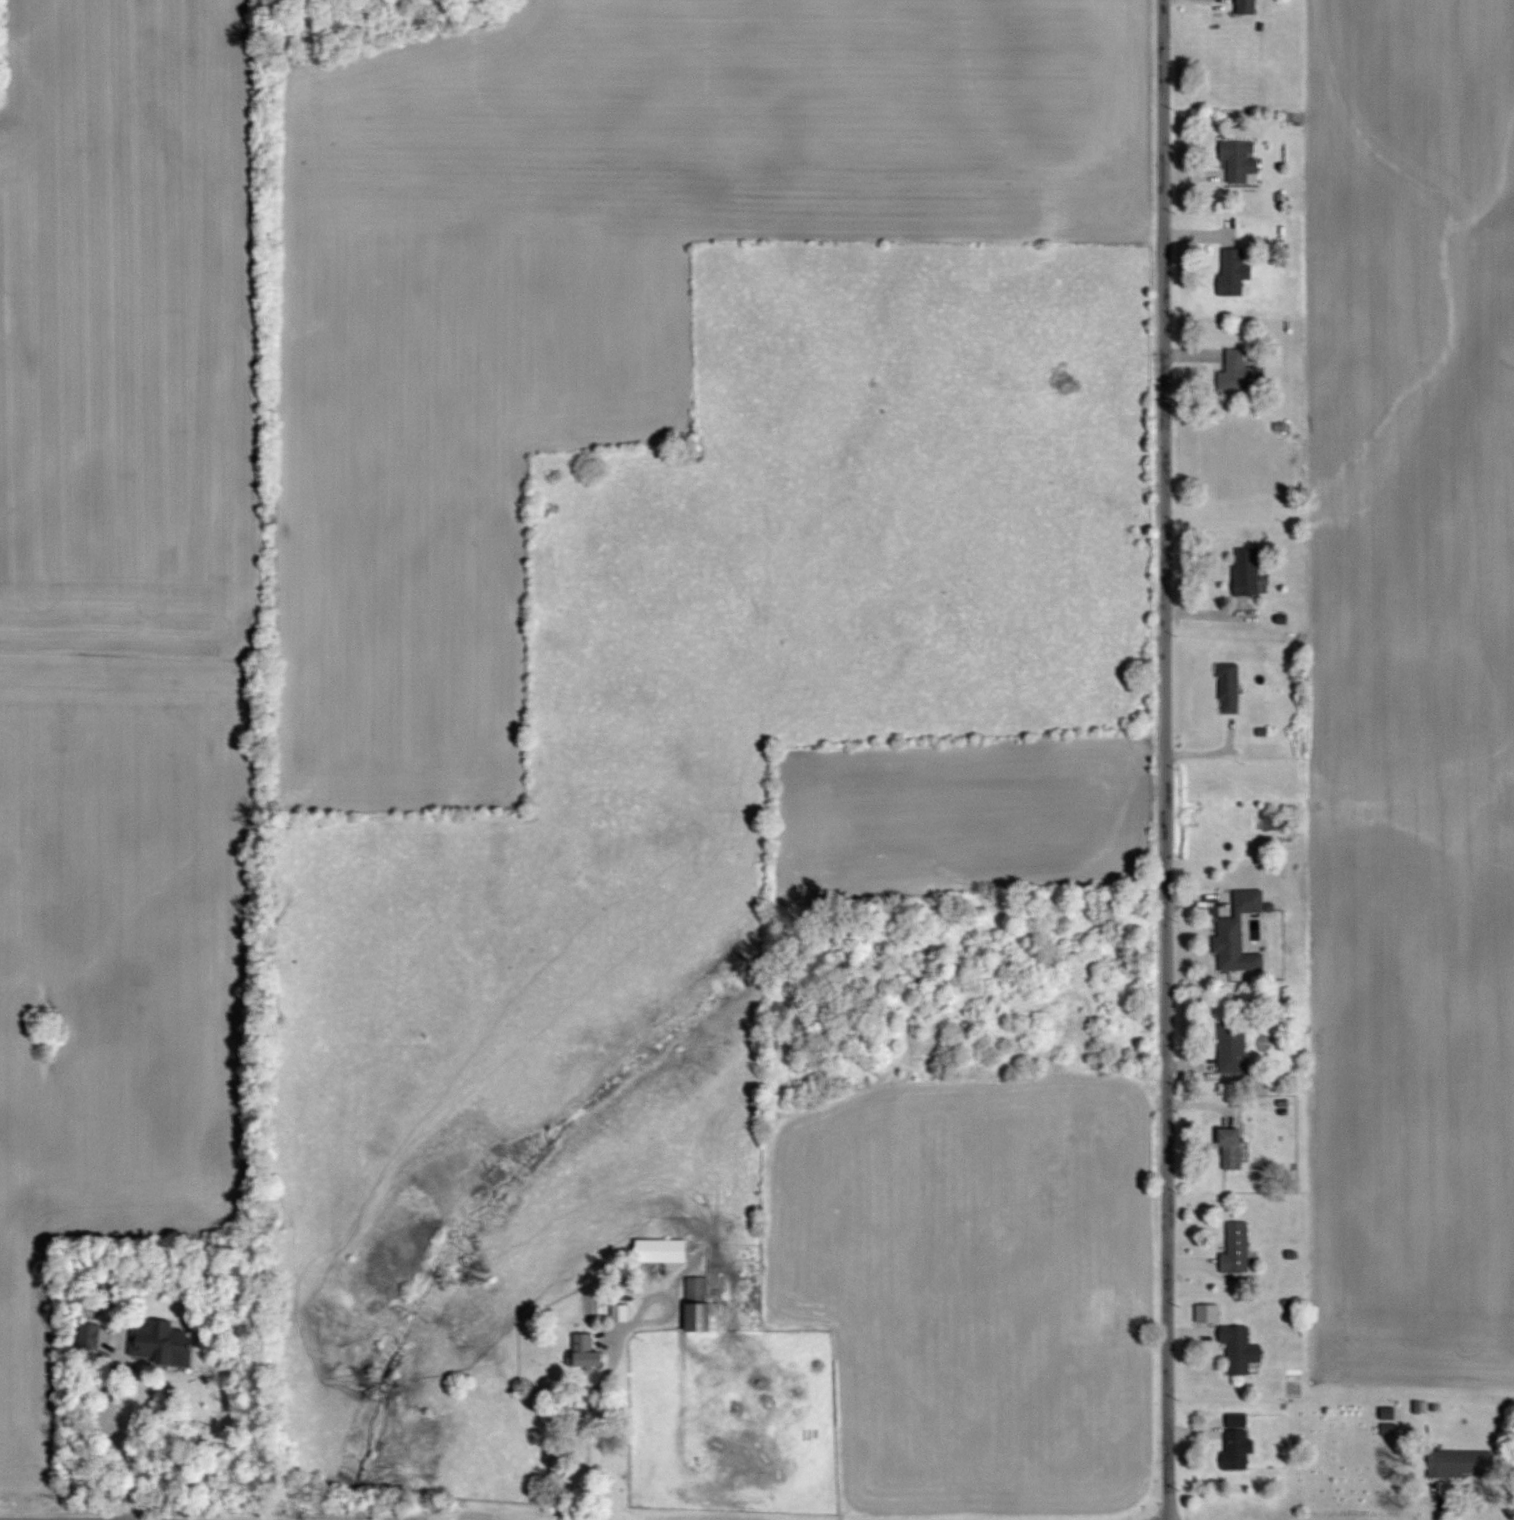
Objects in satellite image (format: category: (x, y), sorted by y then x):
building: (1244, 7)
building: (1239, 161)
building: (1231, 272)
building: (1233, 372)
building: (1245, 572)
building: (1227, 689)
road: (1163, 759)
building: (1243, 934)
building: (1236, 1049)
building: (1236, 1150)
building: (1240, 1250)
building: (665, 1252)
building: (705, 1309)
building: (623, 1314)
building: (1210, 1314)
building: (96, 1338)
building: (170, 1345)
building: (1243, 1350)
building: (589, 1354)
building: (1239, 1444)
road: (126, 1445)
road: (588, 1456)
building: (1465, 1464)

